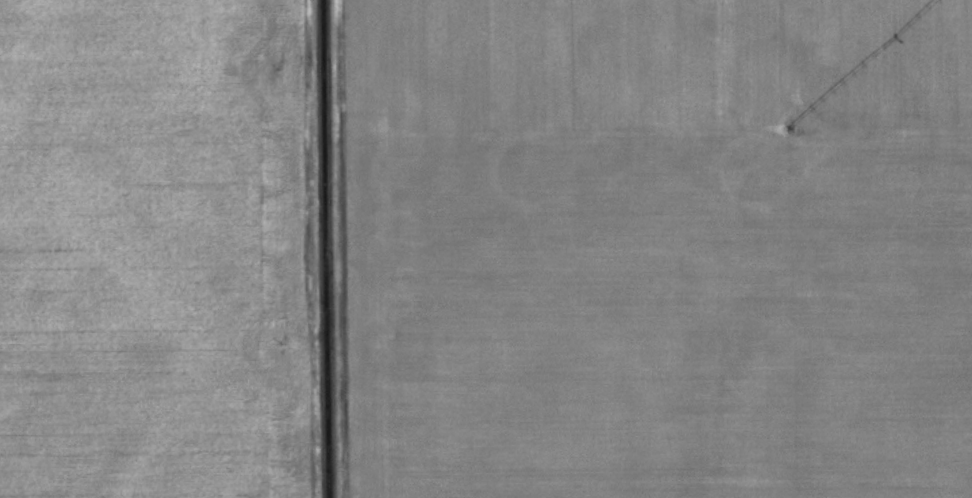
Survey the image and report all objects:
crop: (660, 248)
crop: (158, 249)
road: (331, 249)

